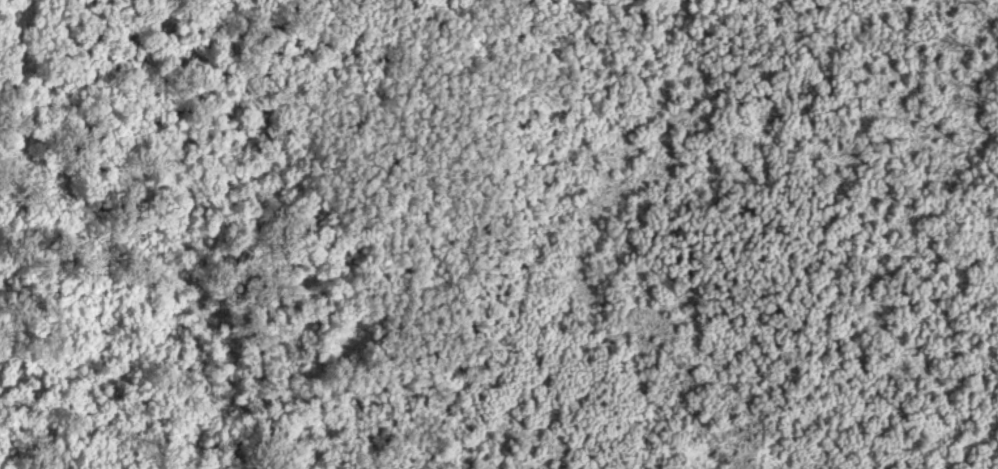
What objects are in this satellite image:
park: (530, 234)

